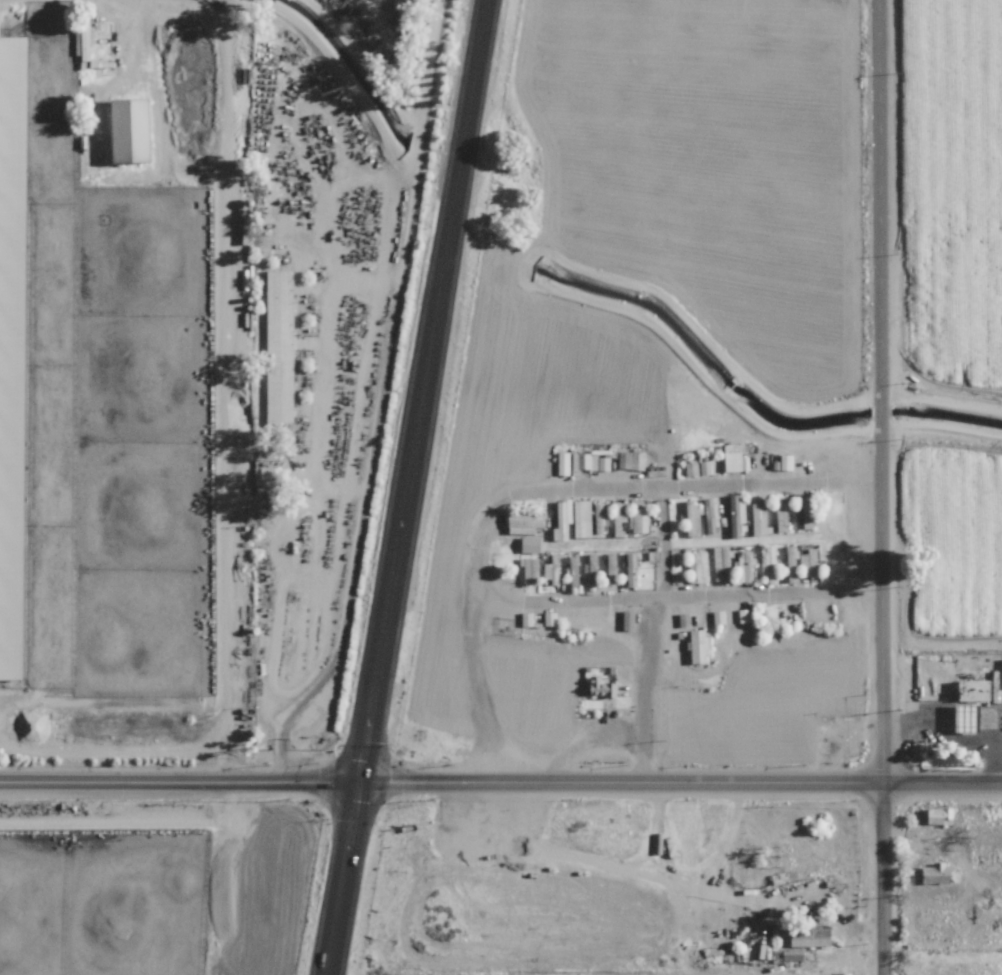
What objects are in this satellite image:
building: (85, 44)
building: (15, 49)
building: (134, 130)
crop: (952, 312)
building: (277, 315)
crop: (126, 384)
road: (381, 394)
road: (225, 446)
building: (734, 458)
building: (589, 462)
building: (786, 462)
building: (561, 463)
building: (267, 476)
road: (404, 487)
road: (882, 487)
building: (808, 504)
building: (620, 511)
building: (582, 518)
building: (598, 518)
building: (564, 519)
building: (638, 520)
building: (781, 520)
road: (481, 521)
building: (525, 522)
building: (809, 522)
building: (758, 524)
road: (665, 537)
building: (530, 545)
building: (771, 559)
building: (800, 561)
building: (746, 566)
building: (590, 567)
building: (699, 567)
building: (552, 569)
building: (573, 569)
building: (631, 570)
building: (530, 571)
road: (772, 588)
building: (548, 618)
building: (525, 619)
building: (700, 646)
road: (474, 672)
building: (600, 687)
building: (974, 691)
building: (970, 719)
road: (948, 736)
road: (942, 771)
traffic signals: (357, 772)
road: (441, 772)
road: (143, 824)
building: (939, 873)
road: (255, 886)
crop: (162, 888)
building: (811, 937)

